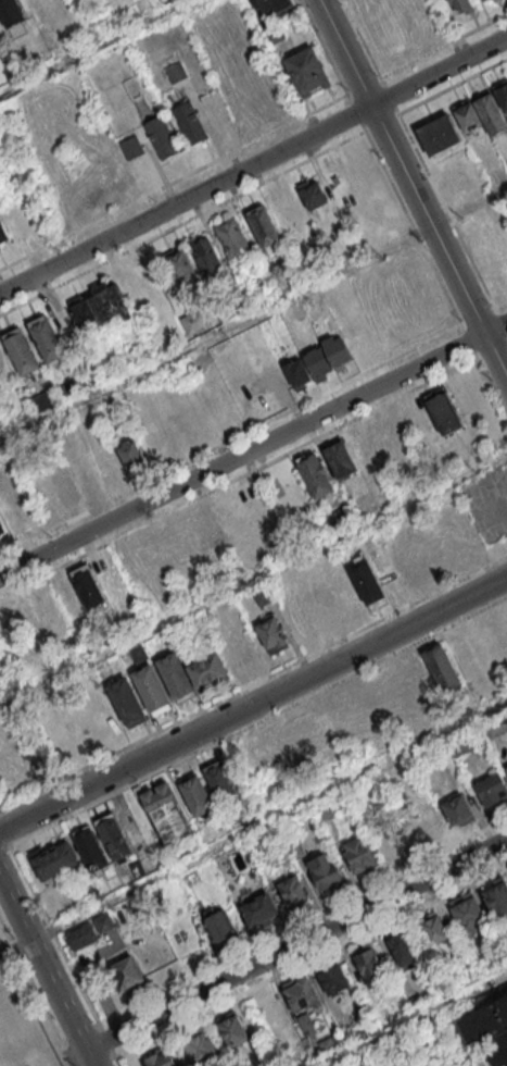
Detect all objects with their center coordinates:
building: (481, 1)
building: (485, 1)
building: (460, 4)
building: (272, 7)
building: (13, 15)
building: (272, 33)
road: (96, 48)
building: (306, 71)
building: (175, 72)
building: (502, 97)
building: (491, 112)
building: (468, 116)
building: (188, 122)
building: (439, 134)
building: (161, 137)
building: (130, 146)
road: (253, 164)
building: (456, 176)
road: (413, 188)
building: (312, 194)
building: (290, 208)
building: (264, 225)
building: (2, 233)
building: (231, 238)
building: (208, 259)
building: (179, 265)
building: (109, 302)
building: (78, 310)
road: (253, 319)
building: (193, 320)
building: (46, 338)
building: (337, 350)
building: (21, 351)
building: (317, 362)
building: (4, 371)
building: (296, 372)
road: (492, 386)
building: (68, 388)
building: (43, 401)
building: (444, 412)
road: (253, 449)
building: (130, 453)
building: (339, 459)
building: (106, 467)
road: (238, 474)
building: (315, 474)
building: (64, 488)
building: (344, 517)
building: (2, 532)
building: (201, 533)
road: (253, 580)
building: (367, 582)
building: (88, 586)
building: (344, 593)
building: (264, 596)
building: (321, 605)
building: (112, 635)
building: (274, 635)
building: (138, 650)
building: (240, 653)
building: (441, 667)
building: (207, 673)
building: (175, 675)
road: (253, 683)
building: (151, 687)
building: (125, 701)
road: (253, 703)
road: (258, 720)
building: (75, 723)
building: (497, 729)
building: (468, 743)
building: (506, 767)
building: (220, 779)
building: (491, 789)
building: (194, 794)
building: (457, 809)
building: (168, 814)
building: (325, 815)
road: (269, 821)
building: (421, 826)
road: (4, 834)
building: (113, 836)
road: (4, 847)
building: (278, 847)
building: (90, 848)
building: (300, 851)
building: (358, 854)
building: (54, 858)
building: (324, 872)
building: (291, 889)
building: (496, 895)
building: (259, 908)
building: (468, 912)
road: (303, 921)
building: (105, 925)
building: (221, 927)
building: (434, 929)
road: (54, 937)
building: (83, 937)
road: (297, 944)
building: (401, 946)
road: (312, 962)
building: (369, 966)
road: (48, 972)
building: (127, 972)
building: (332, 978)
road: (36, 991)
building: (301, 992)
building: (416, 1003)
road: (417, 1019)
building: (232, 1028)
building: (490, 1030)
road: (105, 1041)
building: (200, 1045)
building: (326, 1046)
road: (115, 1058)
building: (159, 1058)

